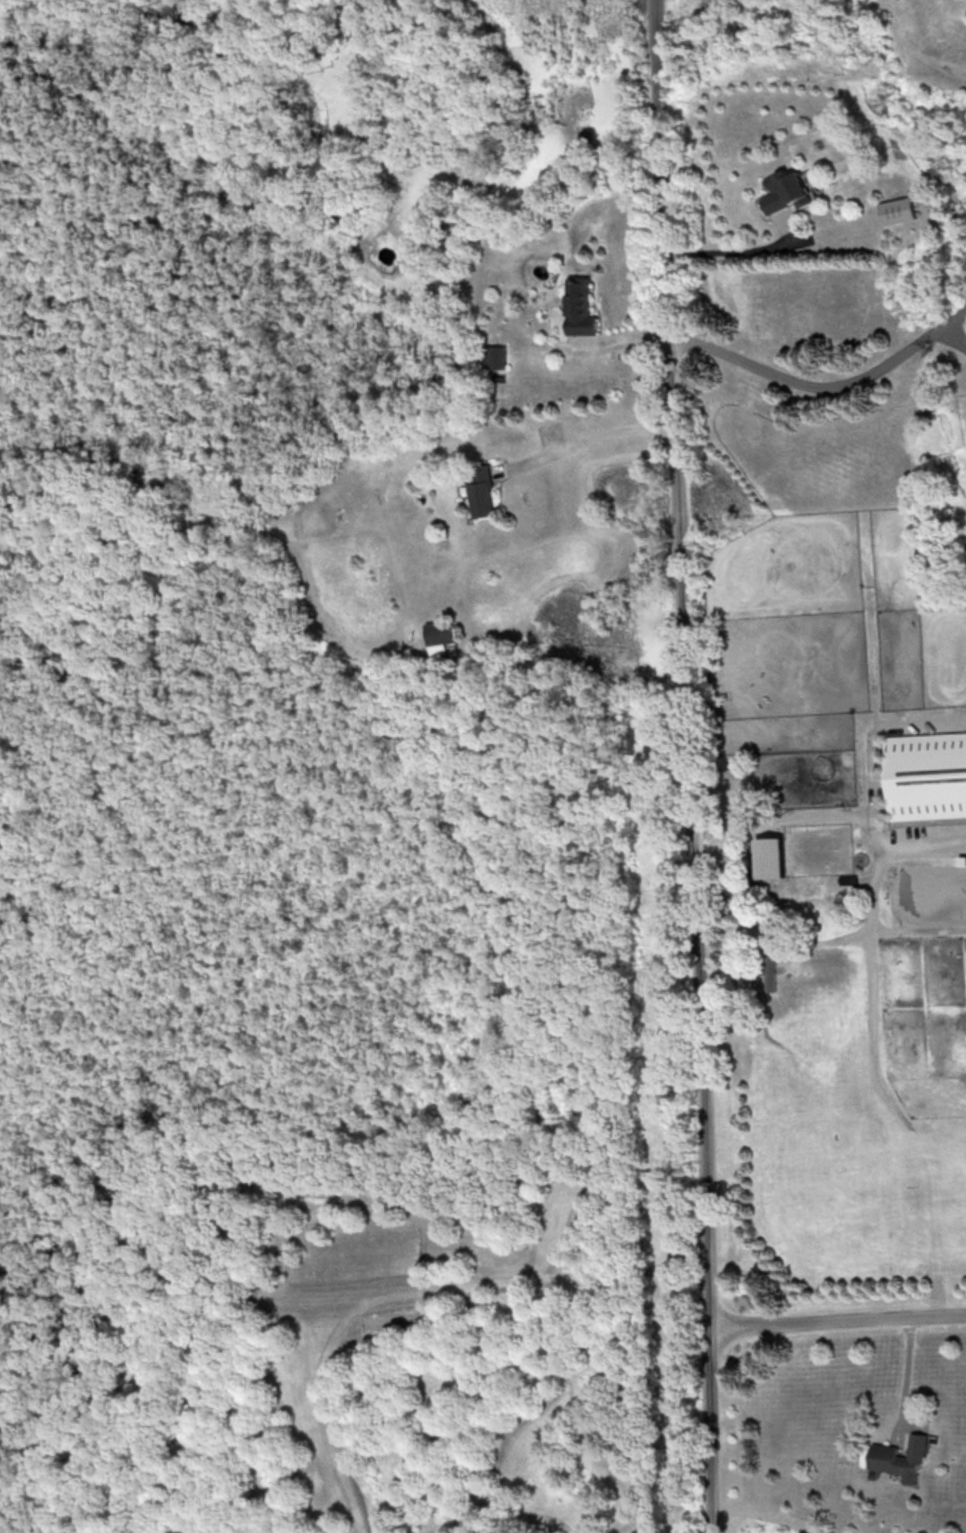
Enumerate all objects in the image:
building: (785, 191)
building: (895, 210)
road: (677, 249)
road: (743, 252)
building: (579, 307)
building: (491, 357)
road: (823, 388)
road: (591, 440)
building: (480, 491)
building: (439, 635)
road: (687, 766)
building: (925, 775)
road: (828, 817)
building: (770, 857)
building: (768, 970)
road: (885, 1090)
road: (838, 1323)
road: (909, 1374)
building: (900, 1457)

